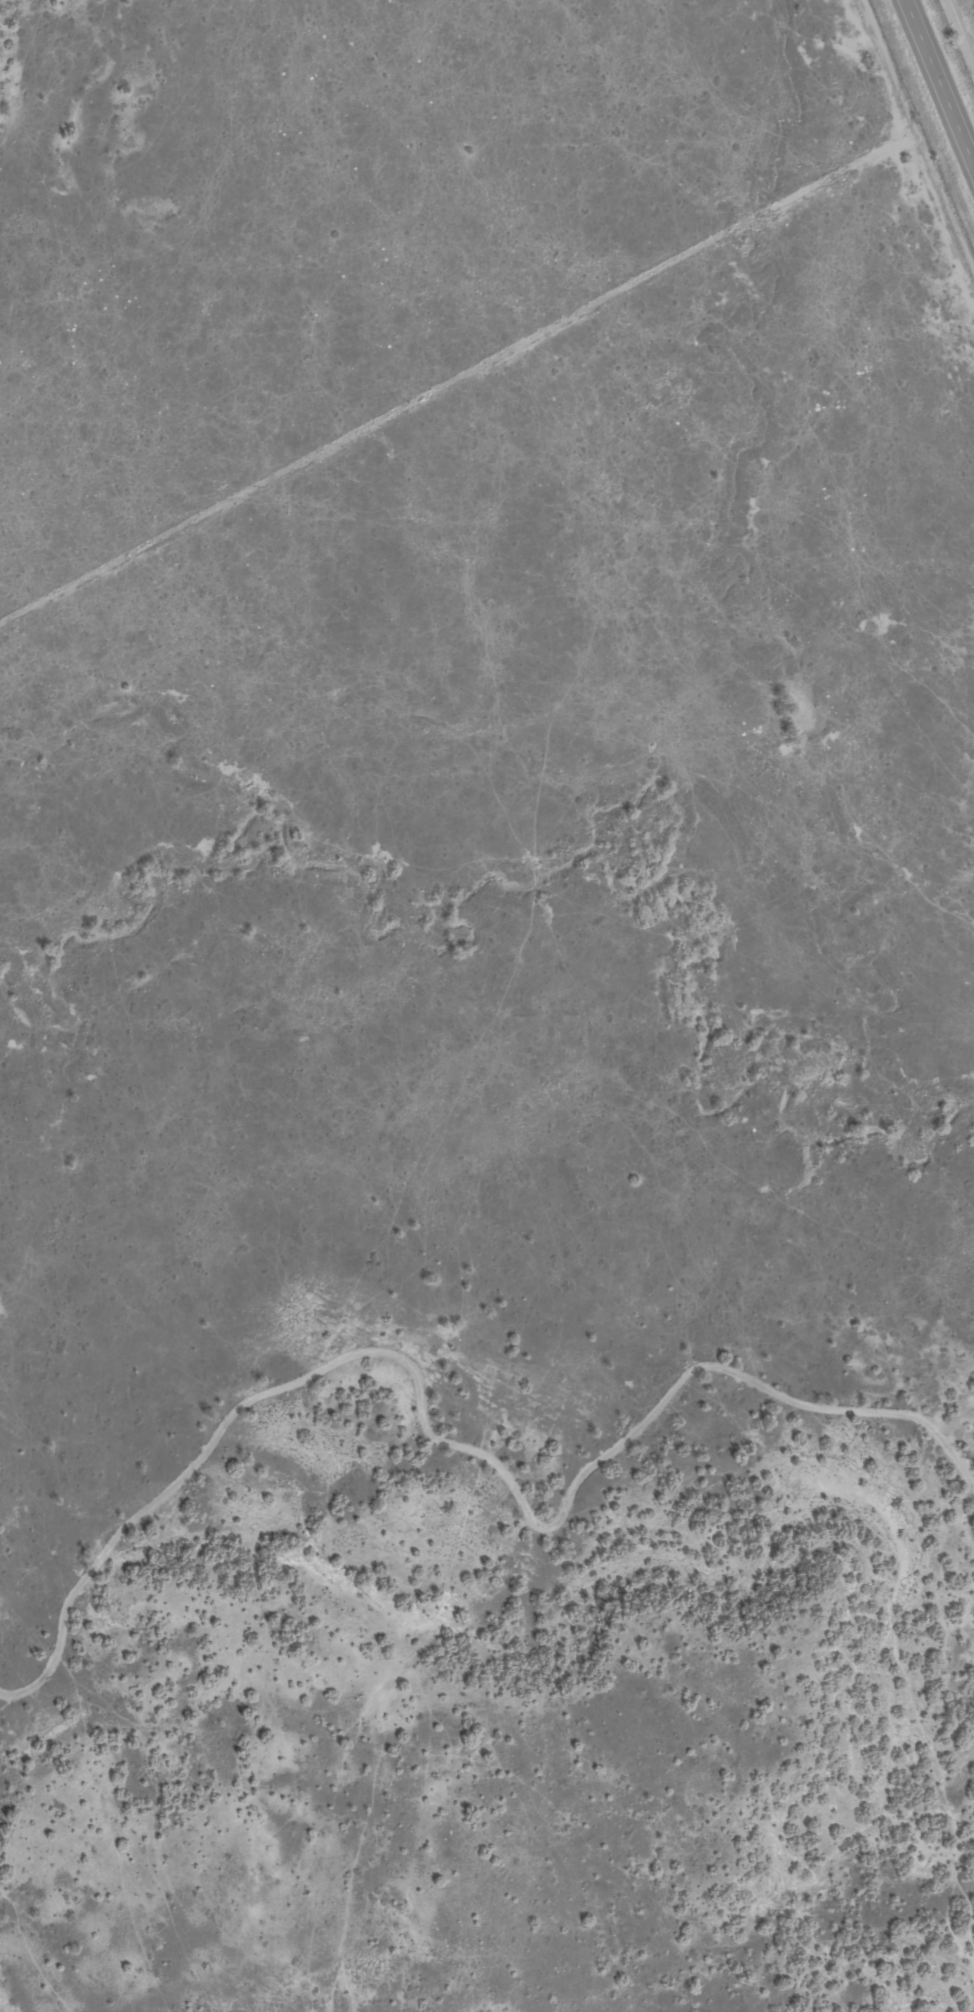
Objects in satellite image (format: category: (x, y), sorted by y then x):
road: (960, 32)
road: (940, 81)
road: (914, 142)

